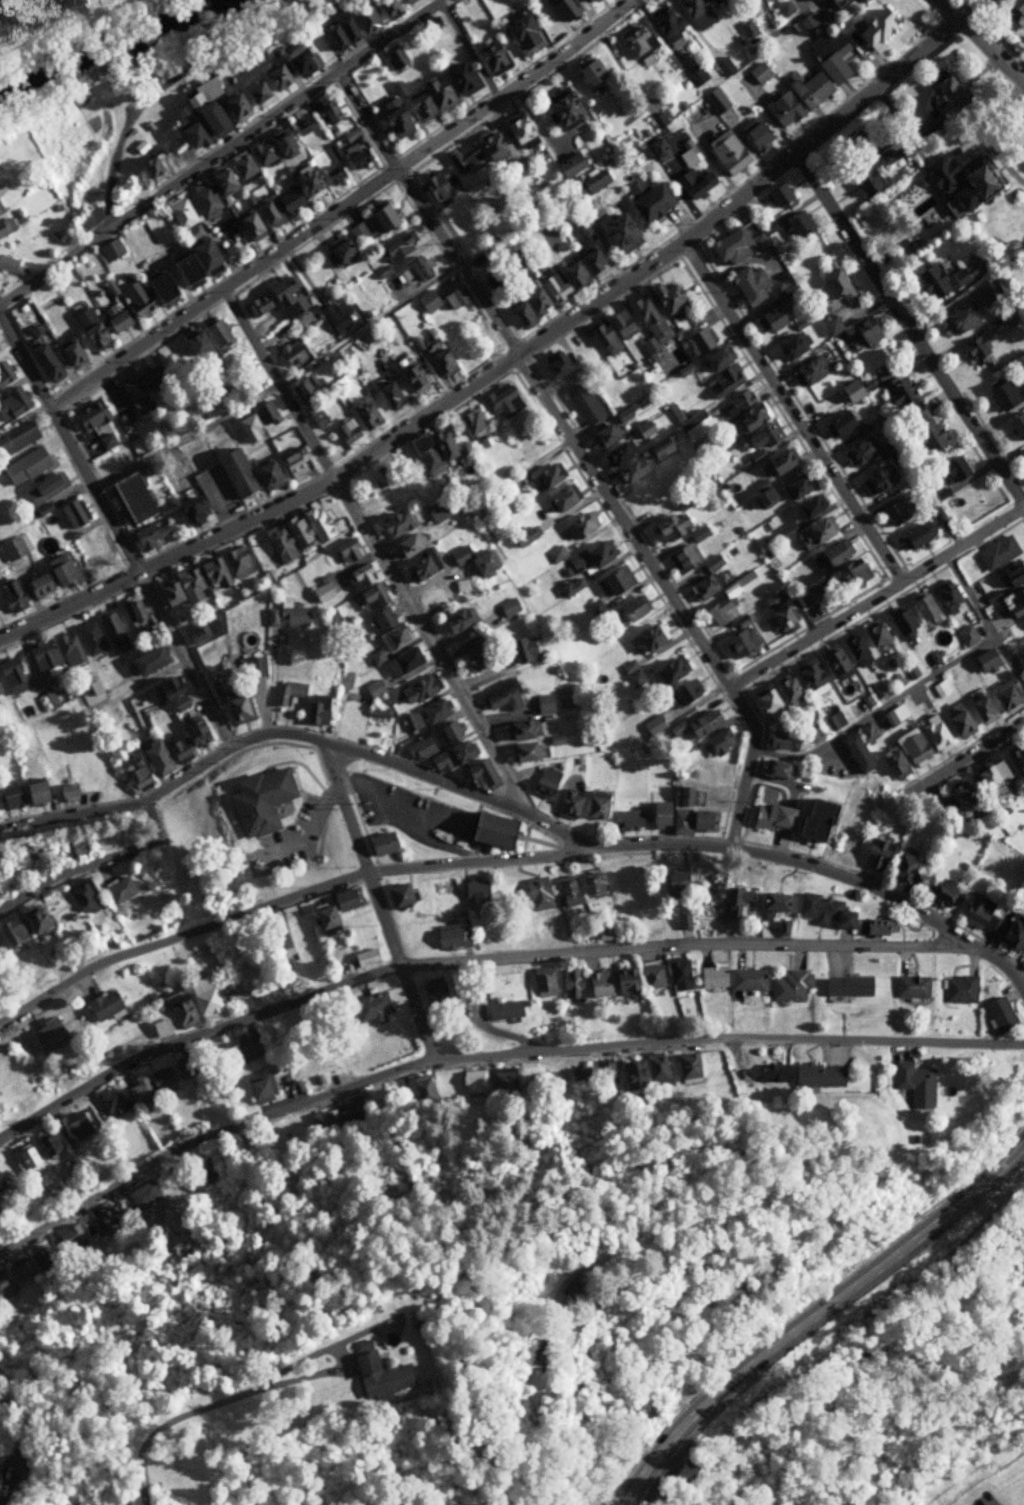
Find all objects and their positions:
building: (590, 0)
building: (837, 2)
building: (386, 6)
building: (562, 7)
building: (696, 12)
building: (662, 19)
river: (95, 24)
building: (349, 26)
building: (873, 28)
building: (522, 32)
building: (636, 41)
road: (979, 42)
building: (296, 56)
building: (395, 56)
building: (490, 56)
building: (723, 65)
building: (831, 67)
building: (759, 72)
building: (588, 73)
building: (274, 76)
building: (693, 78)
building: (809, 87)
building: (441, 90)
building: (253, 91)
building: (941, 91)
building: (231, 104)
building: (782, 108)
building: (562, 109)
building: (328, 111)
building: (208, 113)
building: (393, 117)
building: (302, 126)
building: (518, 129)
building: (756, 133)
building: (191, 135)
building: (656, 148)
building: (271, 149)
road: (220, 150)
building: (476, 150)
building: (725, 154)
building: (355, 156)
building: (567, 165)
building: (242, 166)
building: (152, 167)
building: (875, 169)
building: (333, 174)
building: (219, 180)
building: (307, 180)
building: (688, 182)
building: (589, 184)
building: (975, 184)
building: (437, 185)
building: (779, 196)
building: (204, 199)
building: (286, 200)
building: (648, 202)
building: (922, 205)
road: (339, 206)
building: (0, 209)
building: (179, 213)
building: (267, 213)
building: (381, 216)
building: (85, 218)
building: (795, 223)
building: (248, 225)
building: (615, 228)
building: (359, 231)
building: (397, 245)
building: (729, 246)
building: (199, 250)
building: (337, 250)
building: (105, 251)
building: (13, 264)
building: (182, 268)
building: (412, 270)
building: (574, 270)
building: (938, 280)
building: (747, 283)
building: (158, 285)
building: (785, 285)
building: (834, 287)
building: (283, 295)
building: (134, 297)
building: (453, 297)
building: (664, 297)
building: (427, 301)
building: (527, 303)
building: (255, 305)
building: (336, 316)
building: (958, 317)
building: (771, 318)
building: (114, 321)
road: (911, 321)
building: (88, 325)
building: (829, 325)
building: (864, 330)
building: (611, 331)
building: (218, 333)
building: (657, 335)
building: (699, 339)
building: (197, 343)
building: (789, 345)
building: (977, 347)
building: (69, 352)
building: (291, 353)
road: (512, 356)
building: (438, 358)
building: (714, 358)
road: (23, 360)
building: (44, 361)
building: (555, 363)
building: (806, 370)
building: (4, 373)
building: (410, 375)
road: (534, 379)
building: (723, 380)
building: (308, 386)
building: (137, 389)
building: (849, 389)
building: (897, 389)
building: (1003, 391)
building: (389, 394)
building: (11, 400)
building: (503, 400)
building: (584, 402)
building: (736, 402)
building: (364, 413)
building: (317, 414)
building: (89, 415)
road: (792, 415)
building: (686, 417)
building: (749, 418)
building: (256, 420)
building: (471, 423)
building: (838, 424)
building: (1016, 424)
building: (924, 427)
building: (643, 429)
building: (347, 433)
road: (186, 434)
building: (602, 434)
building: (18, 436)
building: (106, 440)
building: (444, 443)
building: (865, 447)
building: (658, 448)
building: (617, 453)
building: (293, 462)
building: (777, 462)
building: (25, 465)
building: (952, 468)
building: (234, 471)
building: (630, 471)
building: (547, 475)
building: (875, 479)
building: (793, 486)
building: (44, 487)
parking lot: (216, 490)
building: (130, 498)
building: (558, 498)
road: (221, 500)
building: (900, 505)
building: (805, 508)
building: (190, 510)
building: (435, 511)
building: (72, 512)
building: (317, 521)
building: (394, 525)
building: (579, 525)
building: (666, 527)
building: (787, 530)
building: (814, 532)
building: (150, 533)
building: (916, 533)
building: (699, 534)
building: (521, 537)
building: (288, 538)
building: (15, 546)
road: (375, 546)
building: (346, 550)
building: (996, 552)
building: (555, 553)
building: (830, 553)
building: (413, 555)
building: (590, 557)
building: (683, 557)
building: (473, 559)
building: (238, 561)
building: (213, 573)
building: (847, 575)
building: (1011, 575)
road: (136, 577)
building: (359, 577)
building: (707, 579)
building: (612, 581)
building: (570, 586)
building: (179, 588)
building: (944, 593)
building: (10, 594)
building: (372, 596)
building: (805, 596)
road: (878, 598)
building: (920, 605)
building: (507, 606)
building: (631, 608)
building: (1009, 609)
building: (134, 612)
building: (718, 612)
building: (287, 616)
building: (333, 617)
building: (779, 618)
building: (455, 620)
building: (898, 620)
building: (388, 628)
road: (985, 629)
building: (201, 630)
building: (113, 632)
building: (871, 633)
building: (966, 635)
building: (648, 636)
building: (89, 637)
building: (739, 642)
building: (851, 646)
building: (68, 647)
building: (523, 648)
building: (467, 656)
building: (43, 657)
building: (147, 660)
building: (985, 660)
building: (403, 661)
building: (833, 663)
building: (253, 666)
building: (668, 671)
building: (13, 676)
building: (808, 678)
building: (167, 687)
building: (405, 689)
building: (786, 689)
building: (684, 691)
building: (495, 692)
building: (1004, 695)
building: (765, 702)
building: (544, 703)
building: (979, 707)
building: (237, 708)
road: (875, 710)
building: (434, 711)
building: (834, 719)
building: (957, 721)
building: (702, 722)
building: (517, 730)
building: (446, 731)
building: (809, 732)
building: (867, 732)
building: (934, 733)
building: (187, 737)
building: (775, 739)
building: (718, 741)
building: (798, 742)
building: (422, 744)
building: (911, 746)
building: (457, 751)
building: (522, 752)
building: (855, 752)
building: (155, 758)
building: (1015, 759)
road: (968, 760)
building: (894, 762)
road: (748, 764)
building: (779, 768)
building: (706, 770)
building: (135, 774)
building: (478, 774)
building: (544, 782)
building: (66, 790)
building: (22, 793)
building: (960, 793)
building: (681, 795)
building: (258, 800)
building: (568, 803)
building: (596, 804)
road: (517, 814)
building: (656, 814)
building: (630, 816)
building: (813, 819)
building: (693, 820)
building: (491, 829)
building: (380, 843)
building: (74, 845)
building: (26, 852)
building: (875, 854)
road: (96, 858)
building: (901, 867)
road: (333, 879)
building: (674, 880)
building: (591, 883)
building: (120, 887)
building: (475, 890)
building: (941, 890)
building: (568, 891)
building: (537, 893)
building: (82, 894)
building: (399, 895)
road: (373, 896)
building: (730, 901)
building: (773, 902)
building: (333, 909)
building: (822, 911)
building: (978, 912)
building: (44, 922)
building: (869, 927)
building: (602, 934)
building: (1008, 934)
building: (450, 935)
building: (279, 941)
building: (363, 957)
road: (463, 964)
building: (678, 975)
building: (651, 976)
building: (711, 977)
building: (747, 979)
building: (542, 981)
building: (623, 981)
building: (570, 983)
building: (597, 984)
building: (789, 985)
building: (845, 986)
building: (910, 986)
building: (958, 988)
road: (51, 989)
building: (432, 990)
building: (203, 996)
building: (231, 996)
building: (102, 1006)
building: (373, 1008)
building: (502, 1009)
building: (180, 1011)
building: (998, 1014)
building: (665, 1024)
building: (160, 1028)
building: (49, 1034)
building: (247, 1045)
road: (487, 1047)
building: (686, 1066)
building: (769, 1071)
building: (591, 1073)
building: (633, 1073)
building: (815, 1073)
building: (487, 1080)
building: (910, 1081)
building: (149, 1083)
building: (261, 1087)
building: (422, 1091)
building: (110, 1102)
building: (322, 1120)
building: (75, 1126)
building: (47, 1143)
building: (29, 1156)
building: (205, 1166)
building: (143, 1197)
building: (105, 1217)
building: (69, 1240)
building: (23, 1269)
road: (814, 1315)
building: (362, 1370)
road: (339, 1382)
road: (179, 1432)
building: (680, 1485)
parking lot: (983, 1499)

